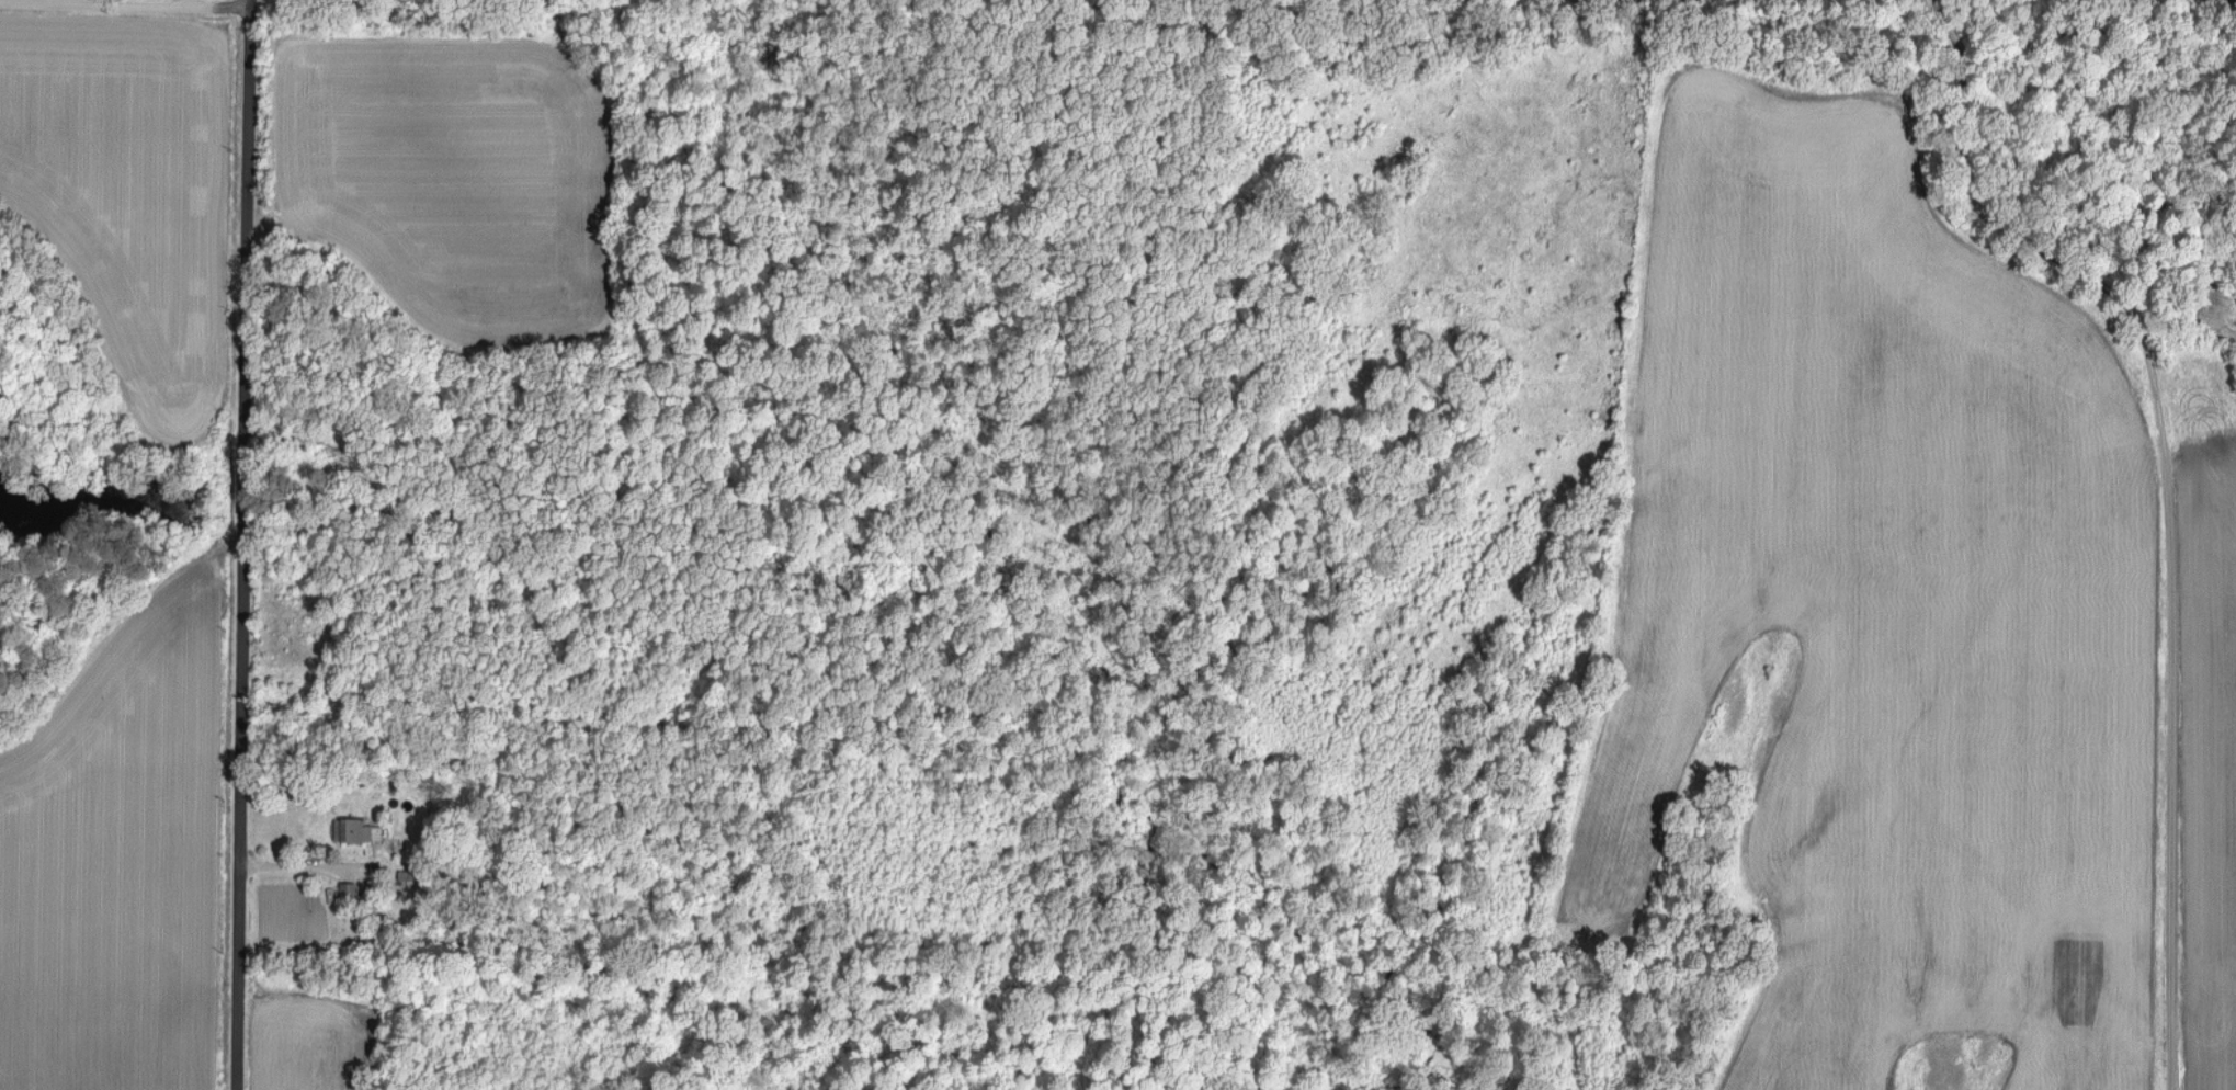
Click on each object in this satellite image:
road: (125, 8)
road: (243, 544)
building: (364, 829)

